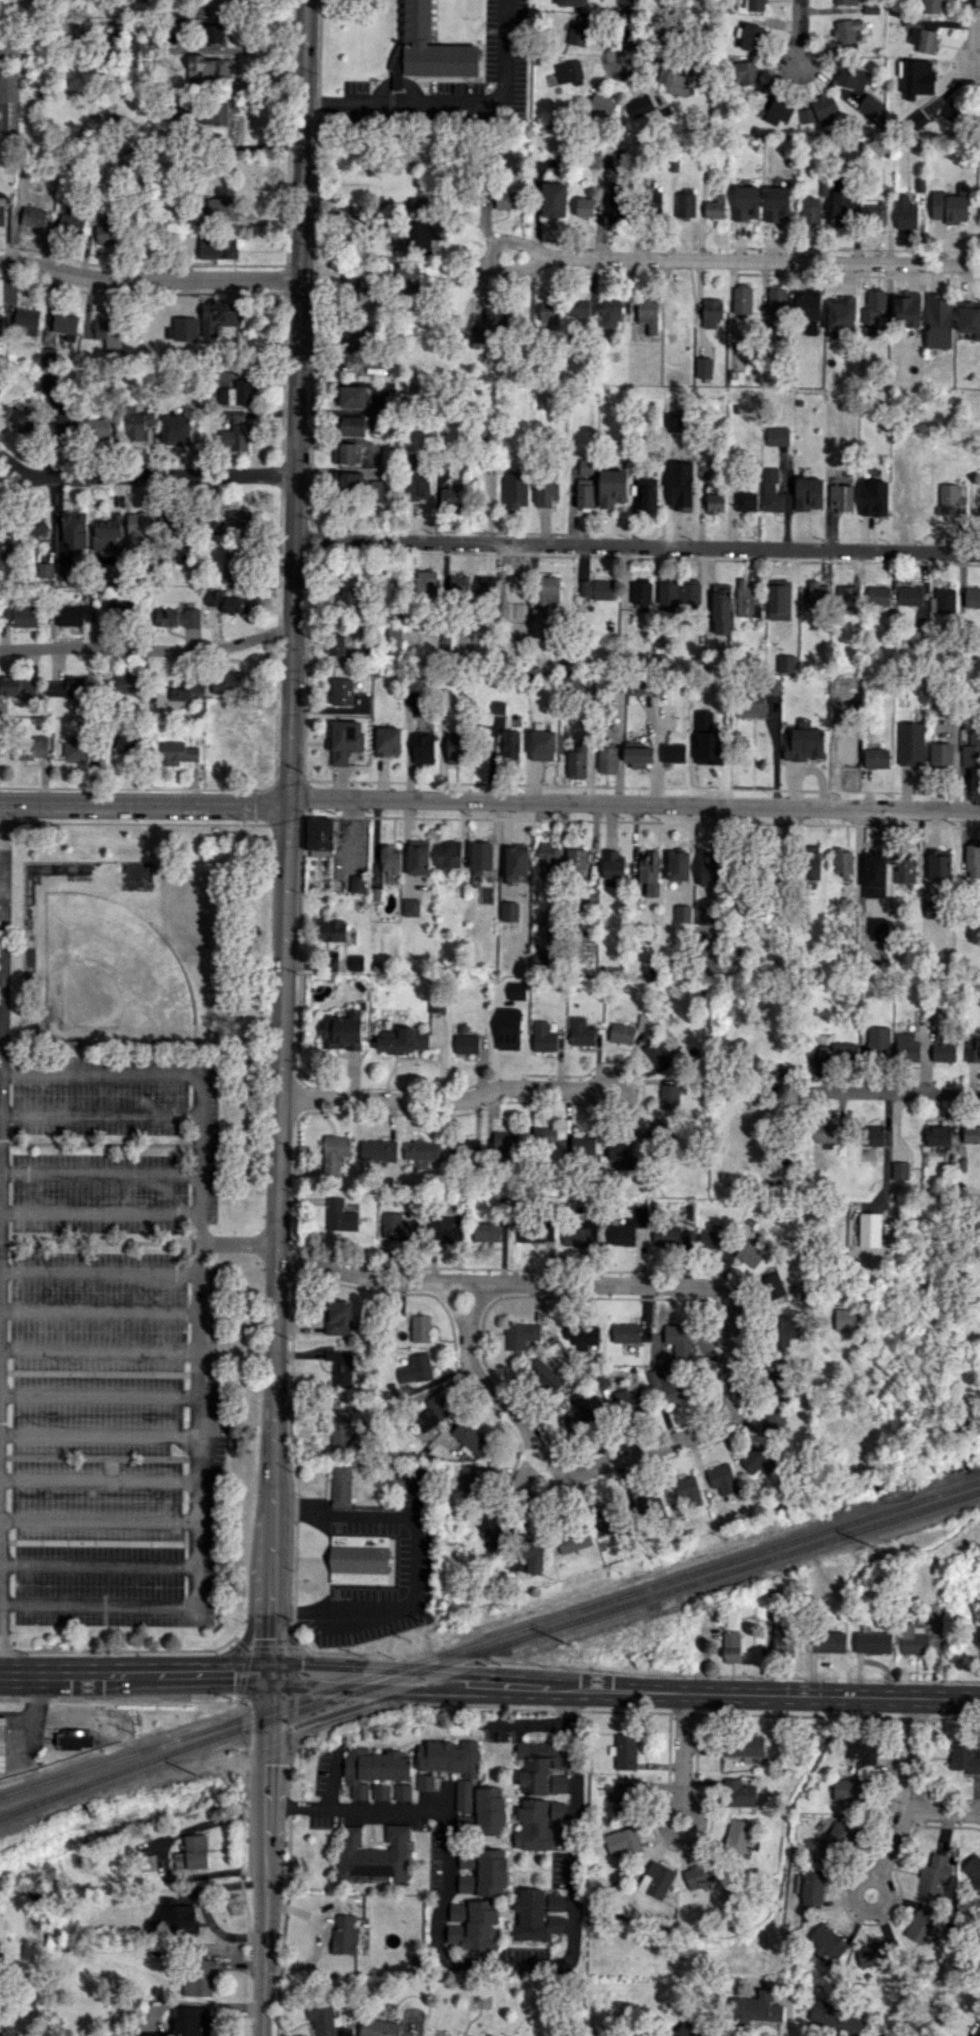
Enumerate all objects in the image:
building: (573, 2)
building: (846, 2)
building: (755, 5)
building: (931, 6)
building: (578, 30)
road: (624, 30)
road: (798, 30)
building: (847, 32)
road: (972, 32)
building: (215, 33)
building: (665, 35)
building: (752, 37)
building: (922, 39)
building: (8, 46)
building: (428, 48)
road: (182, 49)
building: (208, 68)
building: (745, 72)
building: (669, 74)
building: (916, 76)
building: (851, 77)
building: (569, 78)
road: (452, 101)
building: (642, 101)
building: (9, 102)
building: (601, 105)
building: (870, 105)
building: (824, 108)
building: (778, 112)
building: (956, 112)
building: (213, 114)
building: (806, 115)
building: (918, 119)
building: (878, 146)
building: (594, 160)
building: (506, 199)
building: (979, 199)
building: (553, 200)
building: (656, 201)
building: (417, 202)
building: (745, 202)
building: (776, 203)
building: (685, 204)
building: (951, 205)
building: (218, 206)
building: (585, 206)
building: (616, 206)
building: (715, 207)
building: (842, 208)
building: (810, 212)
building: (905, 213)
building: (2, 214)
building: (876, 216)
building: (33, 217)
building: (70, 221)
building: (426, 231)
building: (108, 233)
building: (217, 247)
road: (489, 255)
road: (763, 260)
road: (149, 271)
building: (404, 277)
building: (351, 283)
building: (742, 300)
building: (776, 301)
building: (577, 306)
building: (808, 306)
building: (906, 309)
building: (711, 311)
building: (872, 311)
building: (610, 313)
building: (648, 314)
building: (679, 314)
building: (218, 316)
building: (840, 316)
building: (549, 318)
building: (969, 318)
building: (25, 320)
building: (938, 321)
building: (1, 323)
building: (64, 323)
building: (183, 329)
building: (106, 332)
building: (478, 335)
building: (354, 344)
building: (48, 354)
building: (703, 367)
building: (49, 381)
building: (236, 393)
building: (352, 396)
building: (17, 416)
building: (137, 425)
building: (351, 425)
building: (64, 426)
building: (99, 429)
building: (176, 430)
building: (236, 432)
building: (777, 436)
building: (673, 448)
building: (345, 453)
road: (16, 464)
building: (586, 466)
road: (164, 476)
building: (348, 481)
building: (417, 482)
road: (16, 487)
building: (612, 487)
building: (515, 489)
building: (376, 491)
building: (771, 491)
building: (448, 493)
building: (584, 493)
building: (808, 493)
building: (546, 494)
building: (647, 494)
building: (840, 497)
building: (873, 497)
building: (682, 499)
building: (950, 499)
building: (745, 501)
building: (976, 501)
building: (715, 503)
building: (232, 522)
building: (175, 523)
building: (140, 527)
building: (74, 530)
building: (35, 533)
building: (106, 535)
road: (636, 546)
building: (7, 553)
building: (233, 569)
building: (46, 570)
building: (64, 572)
building: (517, 578)
building: (426, 581)
building: (457, 583)
building: (485, 584)
building: (549, 589)
building: (595, 589)
building: (691, 592)
building: (641, 594)
building: (668, 595)
building: (816, 595)
building: (877, 595)
building: (910, 595)
building: (972, 597)
building: (347, 598)
building: (778, 599)
building: (846, 599)
building: (746, 600)
building: (944, 600)
building: (227, 602)
building: (118, 608)
building: (76, 614)
building: (18, 616)
building: (177, 617)
building: (720, 619)
building: (391, 640)
building: (336, 645)
road: (146, 650)
building: (785, 663)
building: (233, 680)
building: (643, 682)
building: (127, 684)
building: (18, 686)
building: (67, 687)
building: (815, 689)
building: (342, 691)
building: (177, 697)
building: (411, 698)
building: (498, 707)
building: (750, 707)
building: (720, 720)
building: (344, 740)
building: (387, 741)
building: (127, 743)
building: (911, 743)
building: (511, 745)
building: (543, 745)
building: (31, 747)
building: (422, 747)
building: (455, 747)
building: (808, 748)
building: (845, 748)
building: (75, 749)
building: (971, 750)
building: (179, 752)
building: (673, 752)
building: (637, 754)
building: (941, 754)
road: (778, 756)
building: (876, 758)
building: (607, 759)
building: (577, 760)
road: (489, 801)
building: (317, 833)
road: (284, 835)
building: (448, 853)
building: (481, 855)
building: (417, 857)
building: (389, 859)
building: (576, 859)
building: (548, 860)
building: (876, 860)
building: (972, 860)
building: (842, 861)
building: (516, 862)
building: (812, 862)
building: (612, 864)
building: (678, 865)
building: (939, 865)
building: (903, 867)
building: (649, 873)
building: (357, 883)
building: (410, 907)
building: (932, 909)
building: (509, 911)
building: (682, 913)
building: (705, 915)
building: (330, 929)
building: (331, 958)
building: (355, 962)
park: (99, 971)
building: (516, 990)
building: (436, 1003)
road: (1, 1008)
building: (508, 1028)
building: (342, 1030)
building: (581, 1031)
building: (622, 1033)
building: (543, 1037)
building: (403, 1040)
building: (877, 1040)
building: (466, 1043)
building: (907, 1047)
building: (974, 1048)
building: (656, 1051)
building: (836, 1051)
building: (941, 1052)
road: (100, 1074)
building: (777, 1079)
road: (491, 1090)
road: (905, 1093)
building: (669, 1096)
road: (99, 1114)
building: (652, 1129)
building: (822, 1132)
building: (971, 1133)
building: (732, 1134)
building: (873, 1135)
building: (938, 1135)
building: (544, 1136)
building: (505, 1141)
building: (582, 1144)
building: (464, 1146)
building: (378, 1149)
building: (421, 1150)
building: (334, 1153)
building: (621, 1153)
building: (900, 1170)
road: (99, 1172)
road: (99, 1211)
building: (340, 1216)
building: (398, 1227)
building: (627, 1228)
building: (445, 1229)
building: (869, 1229)
building: (486, 1231)
building: (537, 1232)
building: (575, 1236)
building: (671, 1238)
building: (710, 1239)
road: (237, 1242)
building: (749, 1254)
road: (99, 1271)
road: (496, 1282)
building: (772, 1285)
road: (449, 1305)
road: (98, 1310)
building: (338, 1317)
building: (845, 1319)
building: (420, 1327)
building: (787, 1328)
parking lot: (12, 1330)
building: (521, 1335)
building: (581, 1335)
building: (626, 1336)
road: (197, 1340)
building: (680, 1340)
road: (98, 1349)
building: (340, 1366)
building: (416, 1368)
building: (545, 1374)
building: (773, 1381)
building: (672, 1387)
road: (98, 1395)
building: (627, 1403)
building: (433, 1412)
building: (580, 1412)
building: (772, 1421)
building: (340, 1427)
road: (97, 1434)
building: (469, 1438)
building: (758, 1460)
road: (599, 1462)
road: (97, 1479)
building: (722, 1479)
building: (472, 1483)
building: (340, 1485)
road: (527, 1497)
building: (640, 1504)
building: (605, 1519)
road: (97, 1520)
building: (488, 1527)
building: (573, 1540)
building: (532, 1554)
building: (359, 1558)
parking lot: (407, 1558)
road: (414, 1563)
road: (96, 1564)
building: (904, 1597)
building: (778, 1598)
road: (96, 1604)
railway: (489, 1638)
building: (913, 1639)
building: (828, 1641)
building: (874, 1642)
building: (785, 1643)
building: (731, 1646)
railway: (488, 1649)
traffic signals: (268, 1671)
road: (133, 1672)
road: (418, 1676)
road: (773, 1695)
road: (38, 1696)
road: (266, 1701)
road: (350, 1704)
road: (566, 1706)
road: (19, 1719)
road: (110, 1719)
road: (57, 1720)
road: (523, 1726)
road: (38, 1729)
building: (3, 1734)
road: (47, 1739)
road: (69, 1739)
building: (69, 1741)
building: (742, 1745)
building: (861, 1750)
building: (624, 1751)
building: (449, 1756)
building: (964, 1757)
building: (538, 1765)
parking lot: (16, 1767)
building: (372, 1769)
building: (425, 1782)
building: (558, 1783)
building: (381, 1791)
building: (848, 1791)
building: (402, 1792)
building: (738, 1793)
building: (464, 1794)
building: (624, 1795)
road: (671, 1799)
building: (489, 1810)
building: (558, 1810)
road: (943, 1811)
building: (536, 1827)
building: (737, 1837)
building: (835, 1838)
road: (892, 1839)
building: (622, 1841)
road: (577, 1842)
building: (192, 1853)
building: (374, 1855)
building: (148, 1862)
road: (440, 1864)
building: (972, 1871)
building: (491, 1872)
building: (935, 1874)
building: (702, 1875)
building: (656, 1879)
road: (263, 1883)
building: (466, 1883)
building: (812, 1888)
building: (555, 1902)
building: (457, 1912)
building: (533, 1917)
building: (921, 1923)
building: (476, 1927)
building: (344, 1934)
building: (826, 1941)
building: (878, 1951)
building: (199, 1977)
building: (758, 2007)
building: (323, 2018)
building: (836, 2018)
building: (193, 2021)
building: (381, 2028)
building: (683, 2030)
building: (1, 2034)

